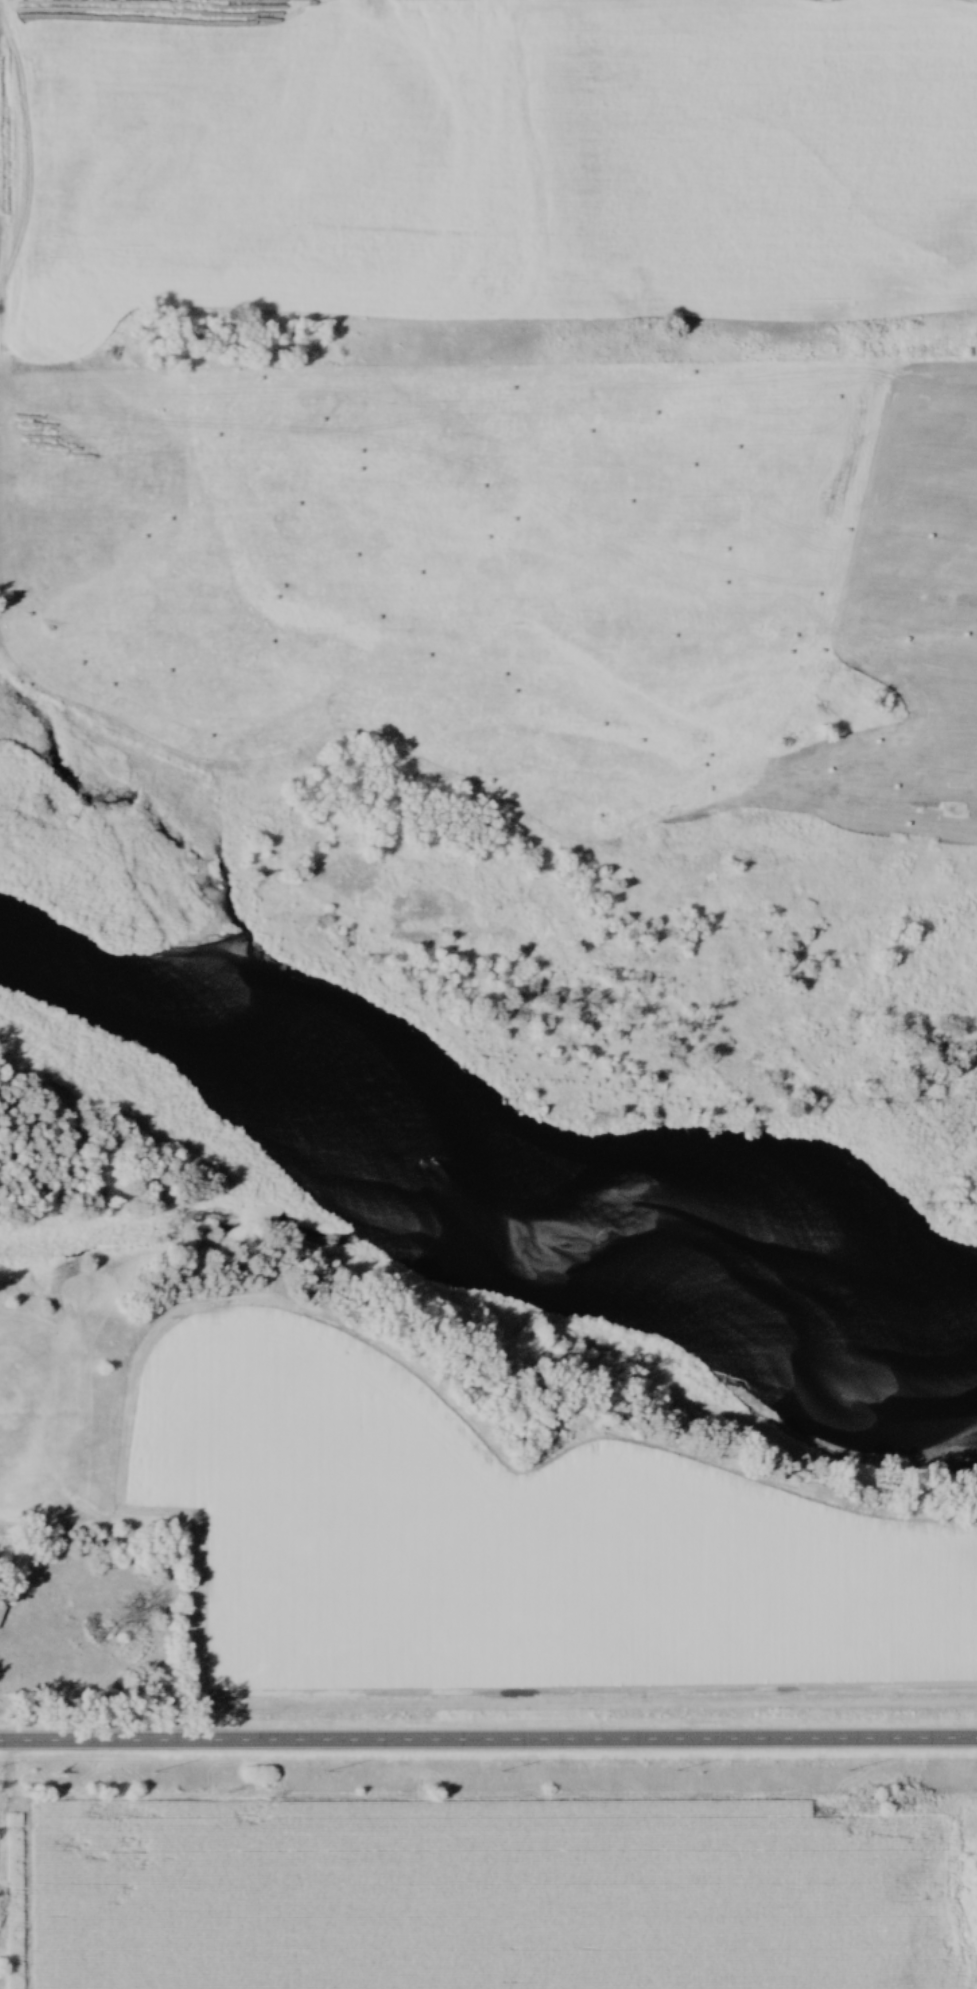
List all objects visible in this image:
river: (497, 1131)
building: (2, 1615)
road: (488, 1739)

